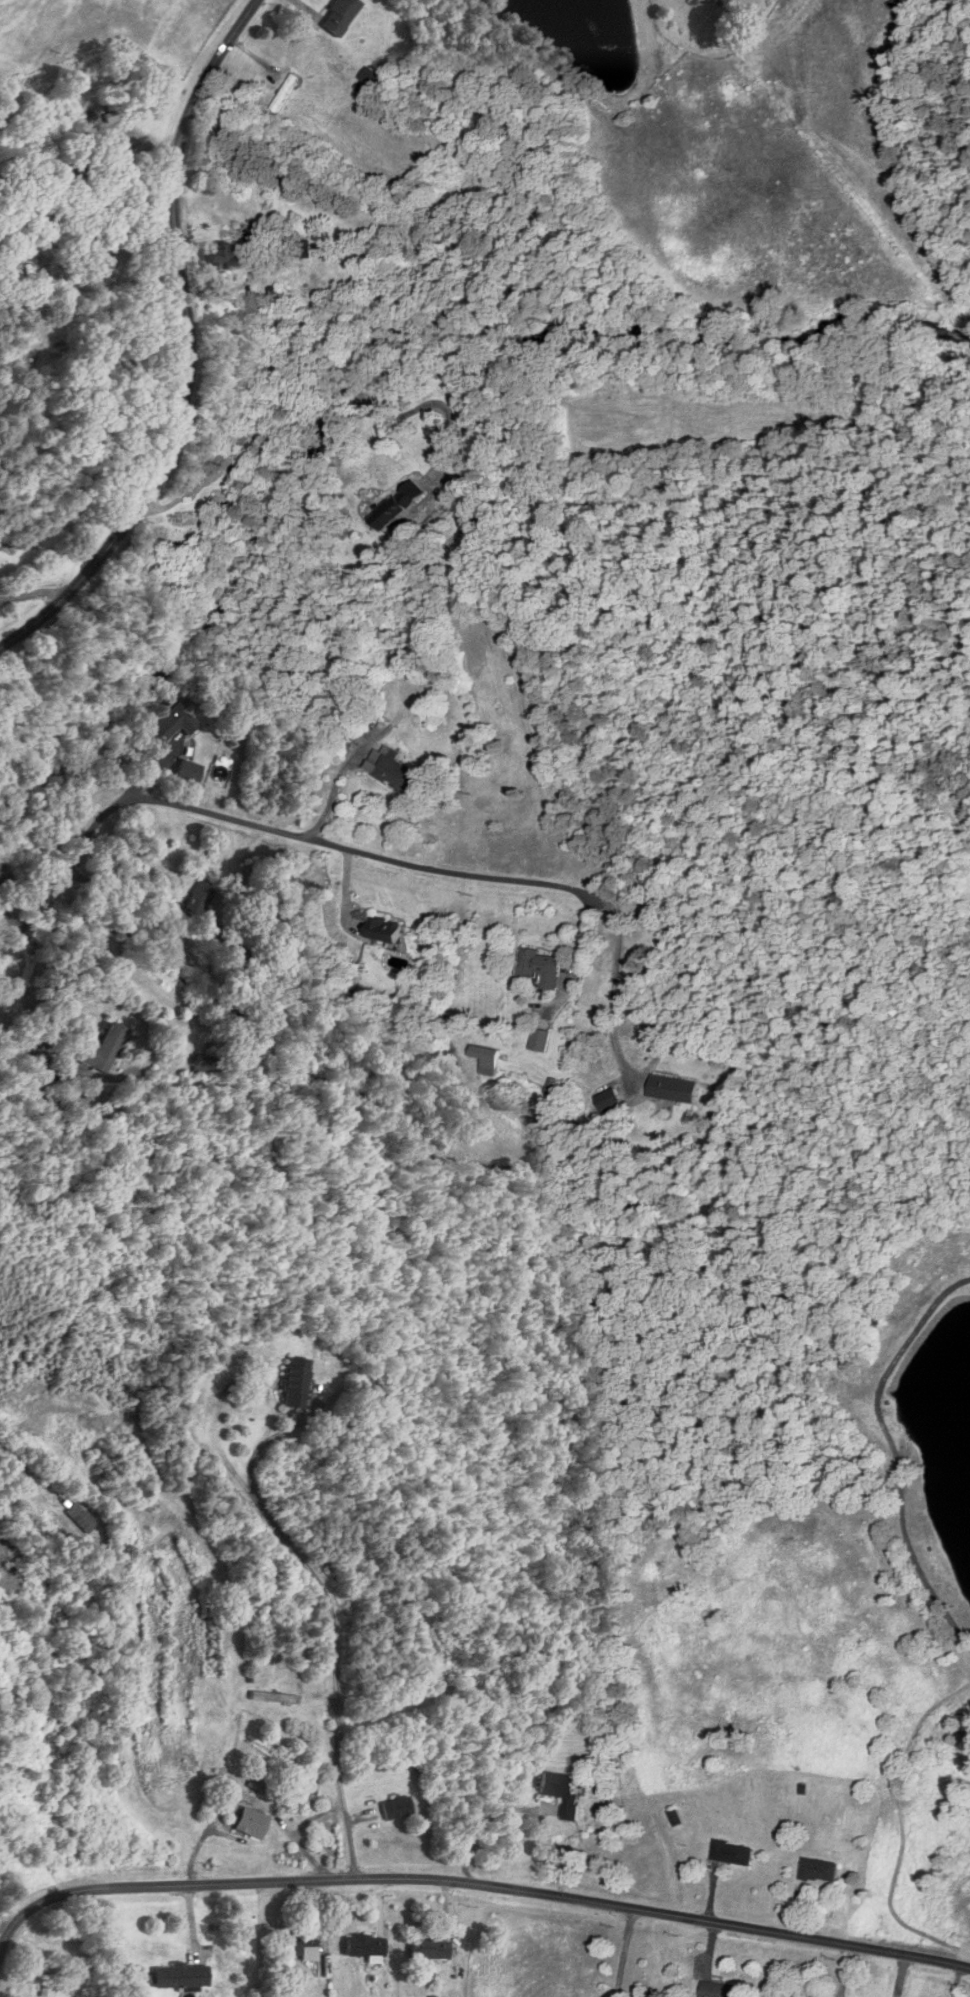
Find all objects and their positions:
building: (339, 15)
building: (285, 93)
building: (127, 111)
building: (75, 173)
building: (29, 213)
road: (108, 224)
building: (305, 250)
building: (223, 255)
building: (100, 262)
road: (191, 348)
road: (319, 384)
building: (397, 506)
road: (35, 592)
building: (173, 722)
building: (393, 772)
building: (190, 775)
road: (332, 798)
road: (266, 830)
road: (121, 892)
building: (198, 901)
building: (386, 931)
building: (541, 969)
road: (613, 994)
building: (541, 1041)
building: (105, 1050)
road: (28, 1053)
building: (488, 1060)
building: (204, 1066)
building: (673, 1089)
building: (611, 1103)
road: (243, 1382)
building: (295, 1384)
road: (292, 1426)
building: (82, 1518)
building: (438, 1623)
road: (337, 1664)
building: (274, 1698)
building: (562, 1792)
building: (397, 1809)
road: (477, 1820)
building: (252, 1824)
building: (733, 1853)
building: (819, 1870)
road: (475, 1890)
road: (3, 1928)
building: (298, 1945)
building: (366, 1945)
building: (430, 1948)
road: (625, 1954)
building: (181, 1976)
building: (52, 1983)
building: (719, 1989)
building: (285, 1994)
building: (798, 1996)

